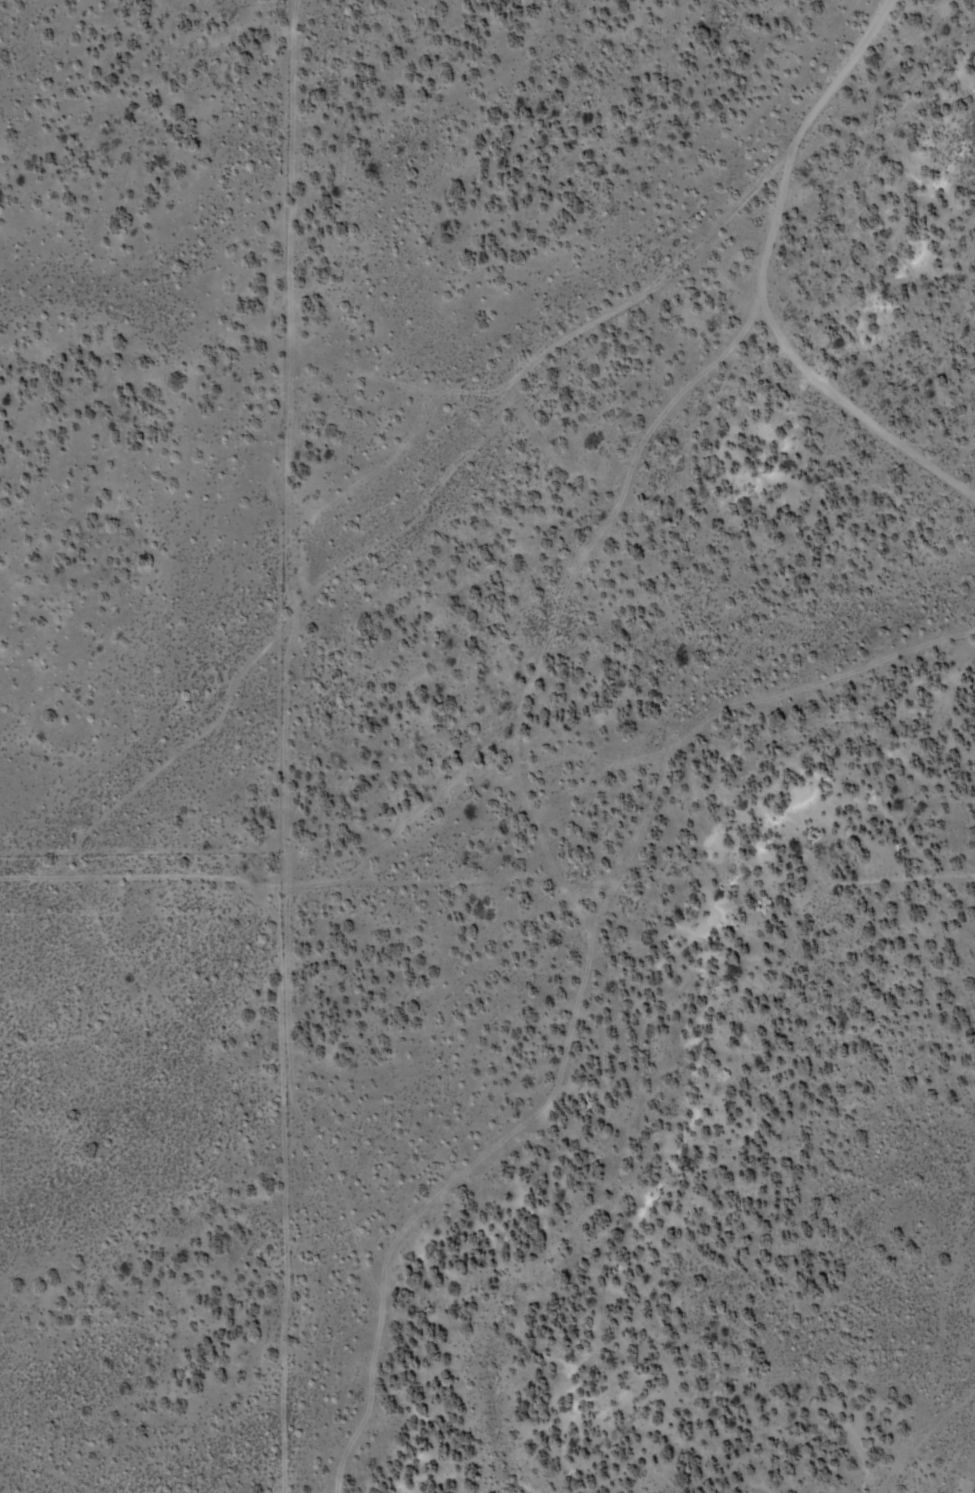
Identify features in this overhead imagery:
road: (795, 140)
road: (855, 413)
road: (404, 528)
road: (489, 731)

